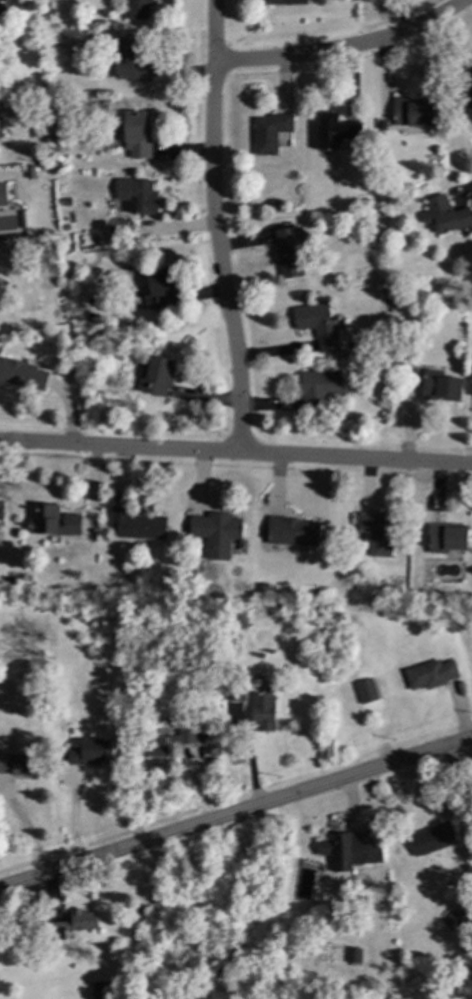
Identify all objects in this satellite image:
building: (286, 2)
building: (140, 9)
road: (347, 54)
building: (131, 62)
building: (464, 87)
building: (413, 108)
building: (337, 131)
building: (269, 132)
building: (137, 133)
building: (3, 196)
building: (135, 197)
building: (447, 215)
road: (217, 227)
building: (287, 256)
building: (159, 288)
building: (0, 309)
building: (319, 325)
building: (21, 373)
building: (157, 377)
building: (442, 385)
building: (321, 386)
road: (236, 453)
building: (1, 510)
building: (53, 520)
building: (138, 524)
building: (292, 531)
building: (217, 532)
building: (377, 533)
building: (446, 538)
building: (430, 674)
building: (366, 692)
building: (264, 709)
building: (170, 742)
building: (90, 752)
building: (22, 764)
road: (236, 813)
building: (432, 838)
building: (345, 848)
building: (386, 915)
building: (73, 924)
building: (355, 955)
building: (455, 972)
building: (100, 990)

